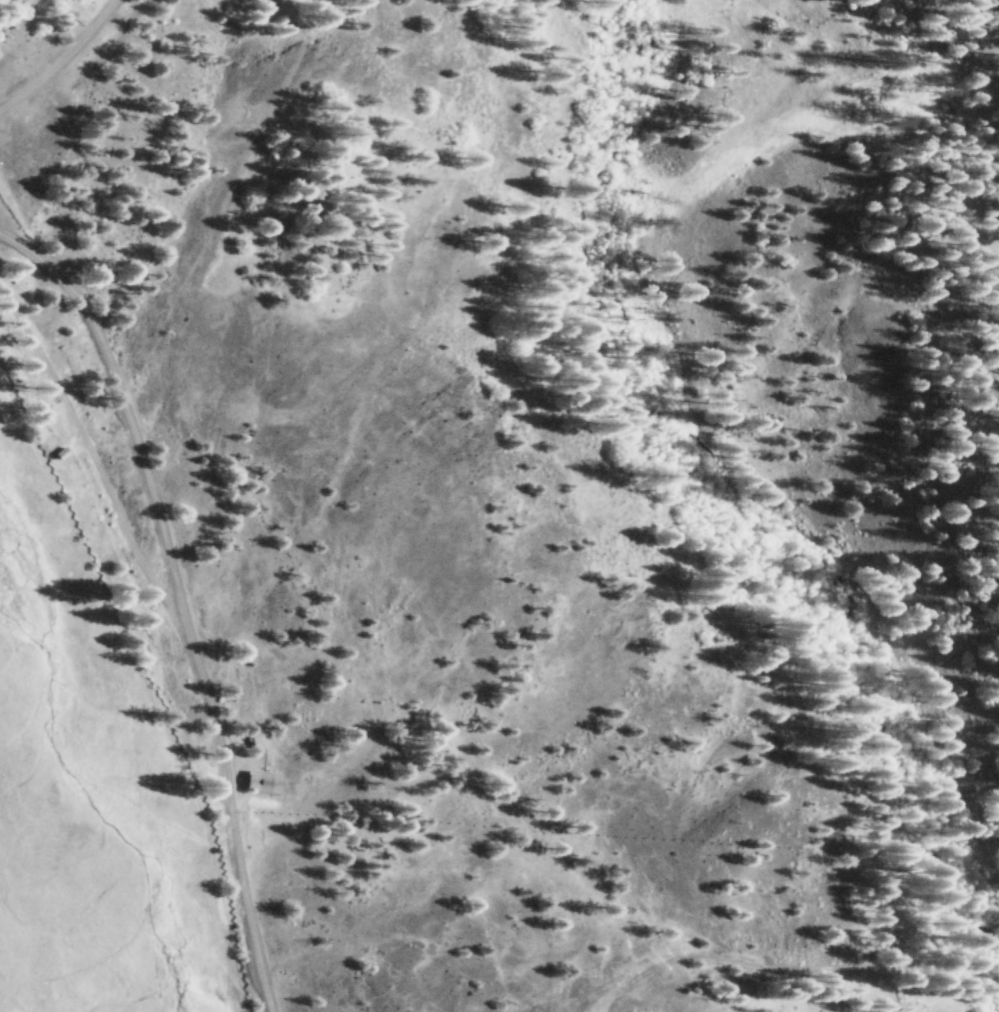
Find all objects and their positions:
road: (798, 261)
road: (203, 734)
building: (259, 782)
road: (279, 919)

